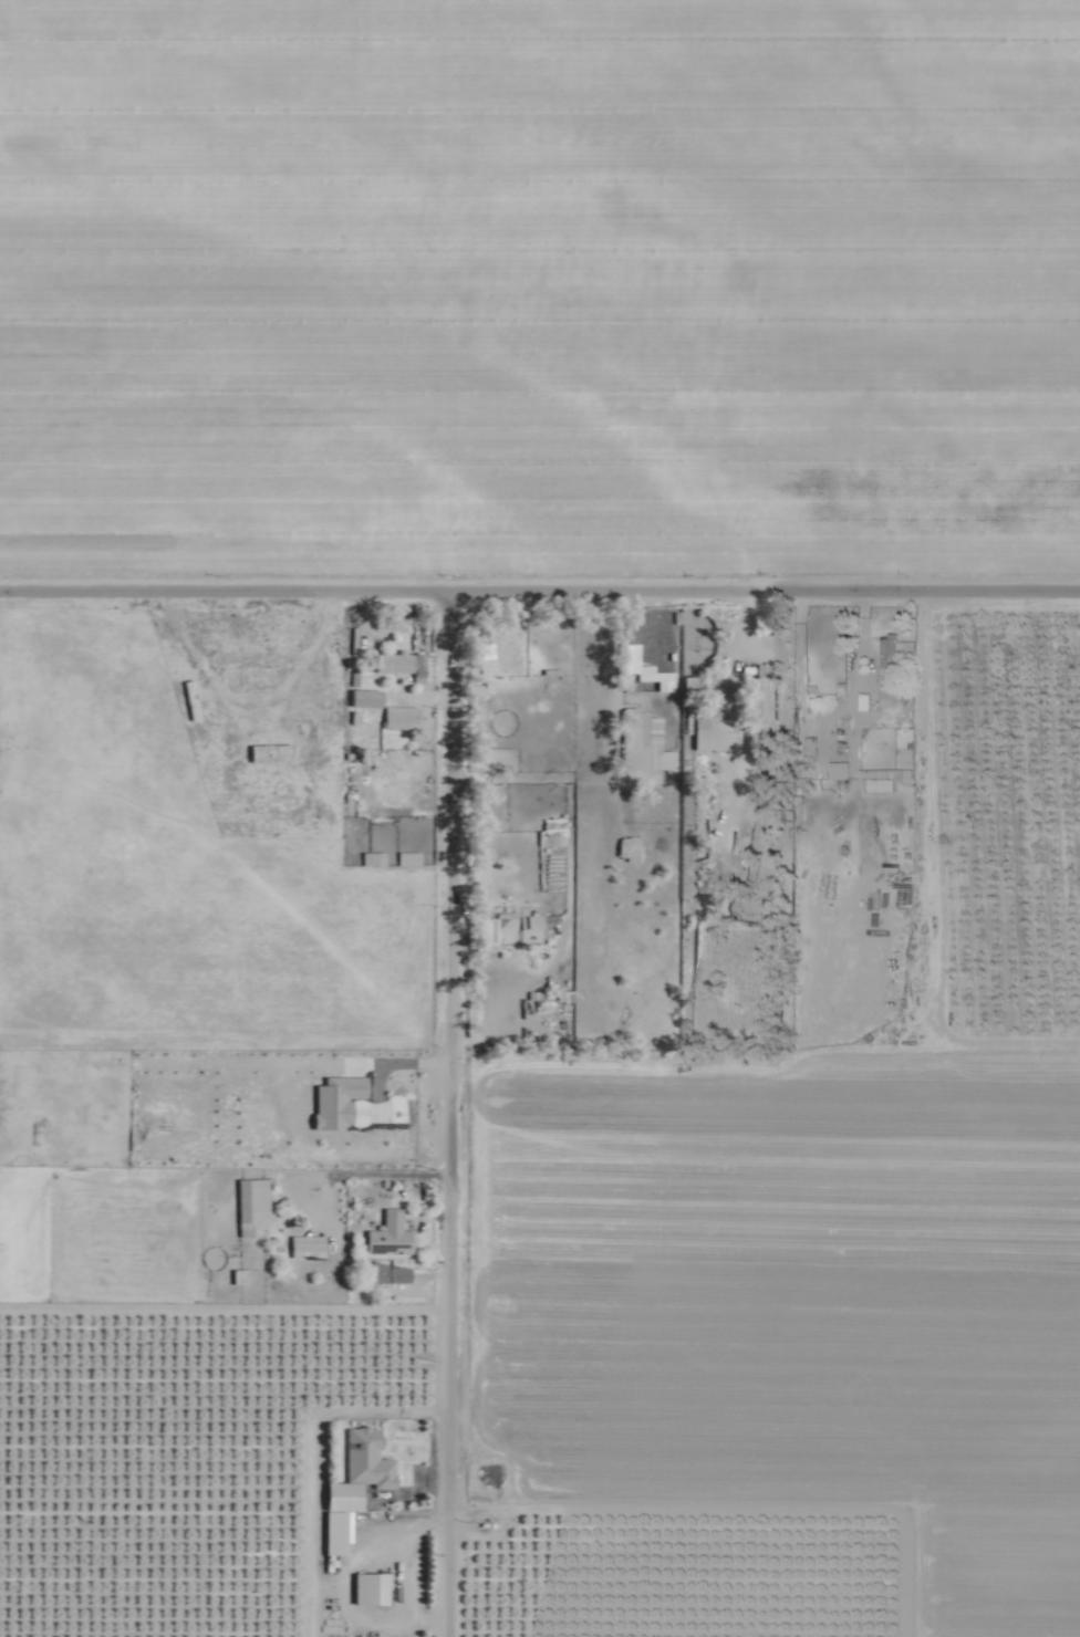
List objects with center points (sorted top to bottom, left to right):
crop: (538, 283)
road: (237, 577)
road: (777, 578)
building: (886, 650)
building: (416, 659)
building: (248, 670)
building: (364, 696)
building: (398, 715)
building: (646, 745)
building: (268, 751)
building: (838, 768)
building: (627, 846)
road: (467, 1107)
road: (374, 1170)
building: (387, 1233)
building: (305, 1244)
building: (386, 1272)
building: (362, 1439)
crop: (198, 1468)

